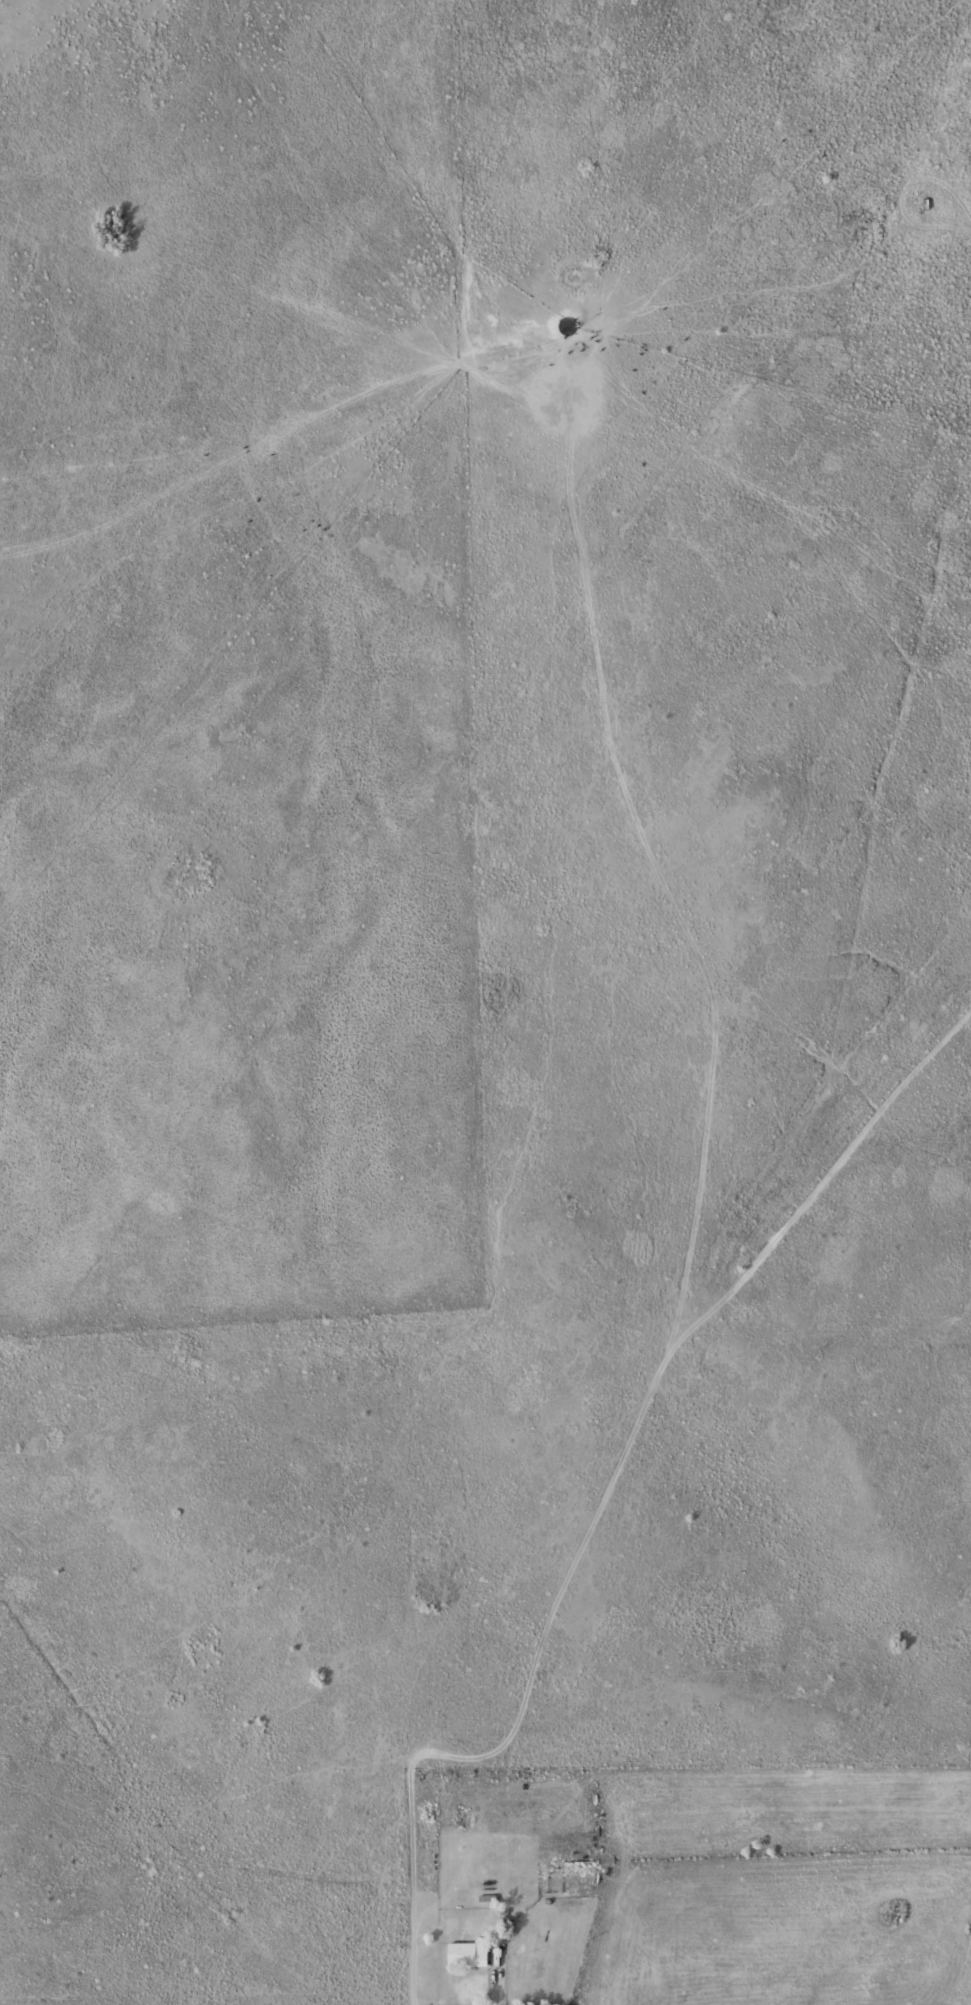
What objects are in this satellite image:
building: (466, 1954)

